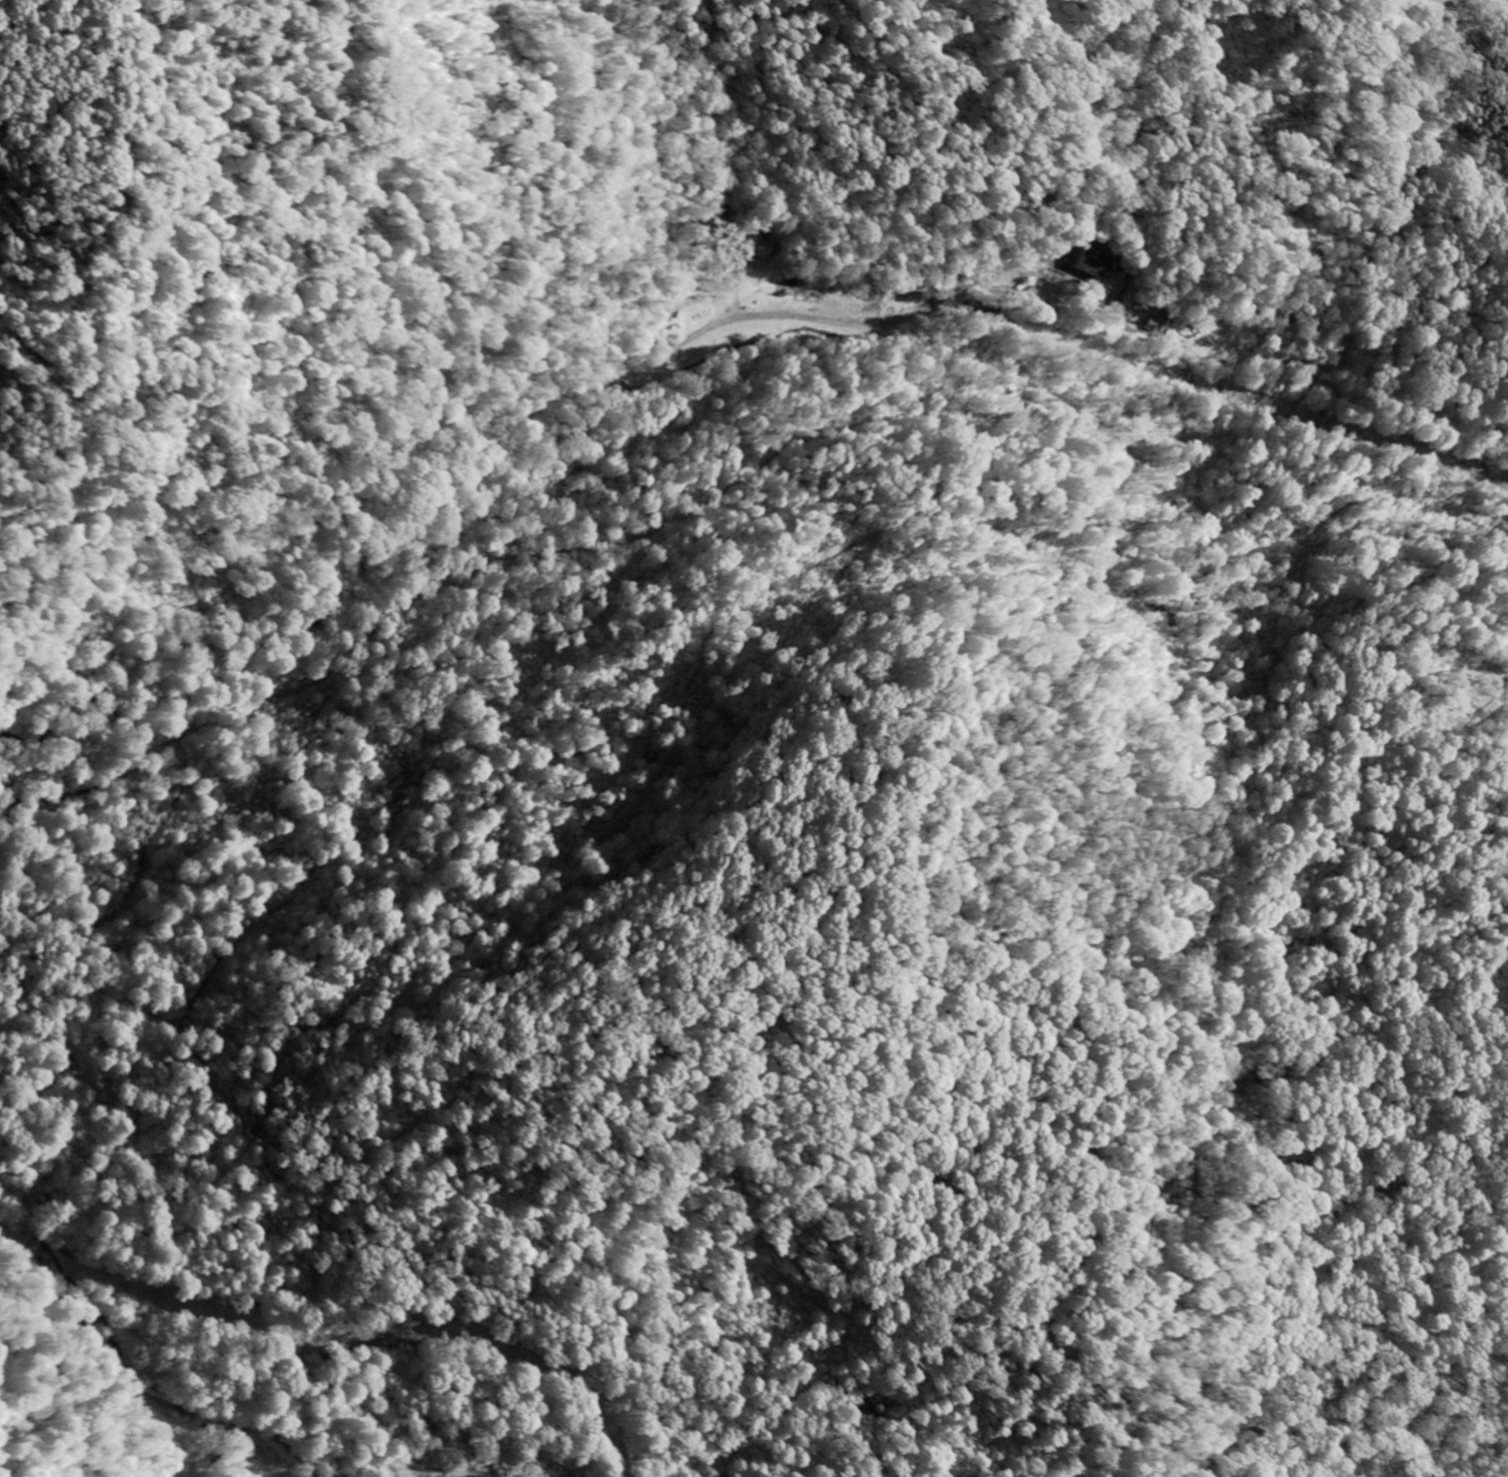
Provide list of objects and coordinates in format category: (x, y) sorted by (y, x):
building: (1083, 267)
road: (1289, 389)
road: (536, 407)
road: (138, 1379)

